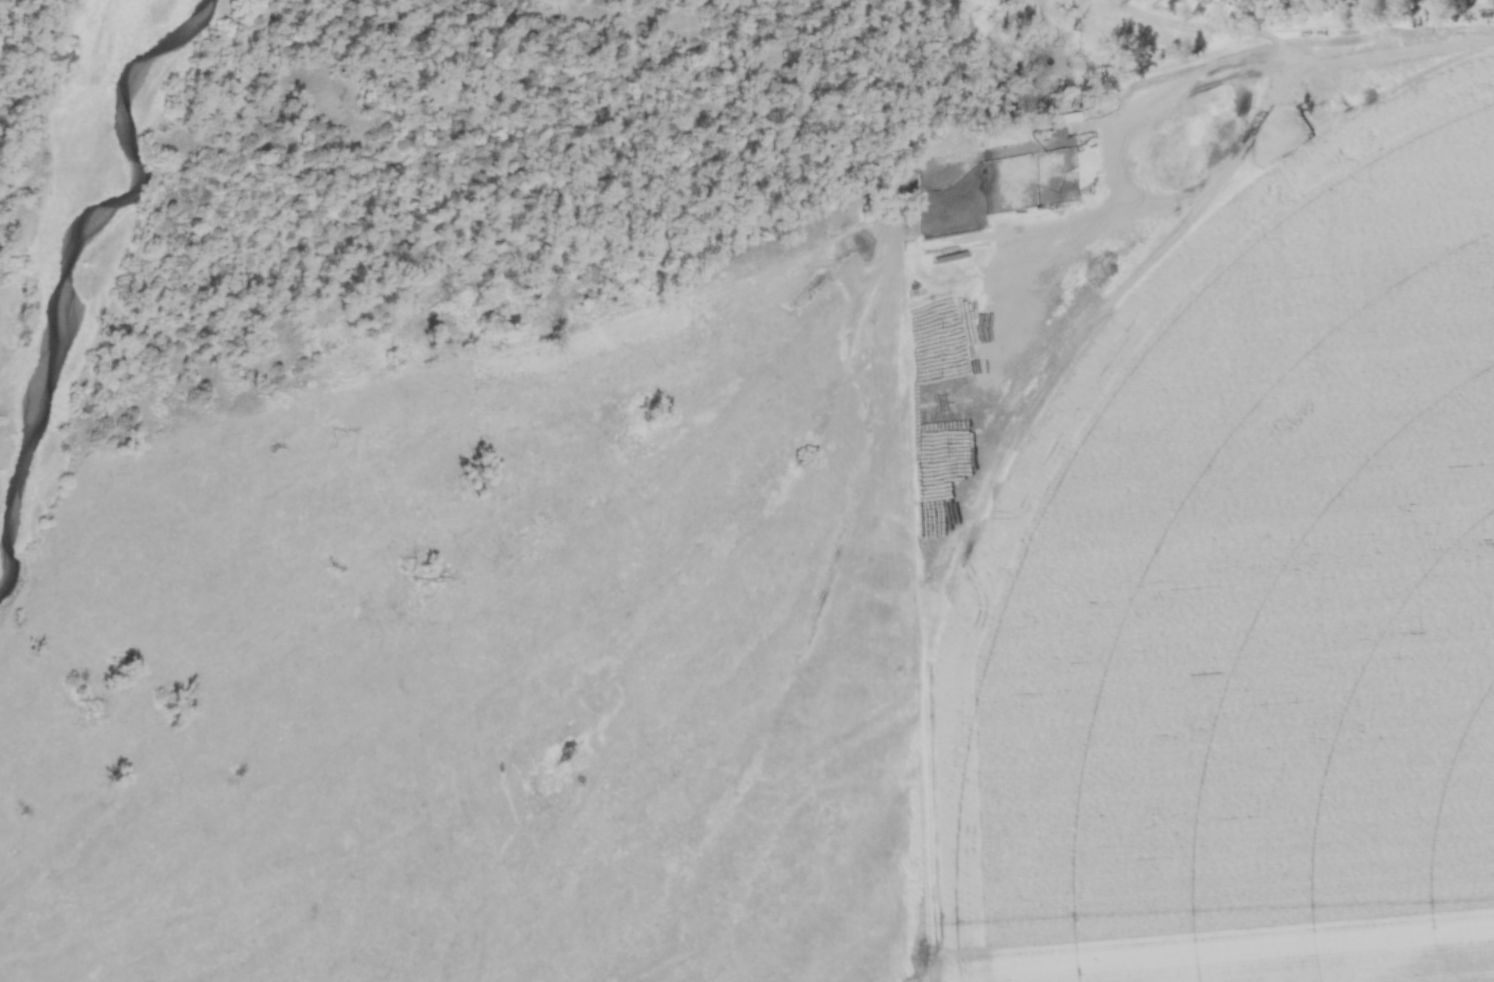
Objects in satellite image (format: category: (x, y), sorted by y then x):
river: (70, 251)

